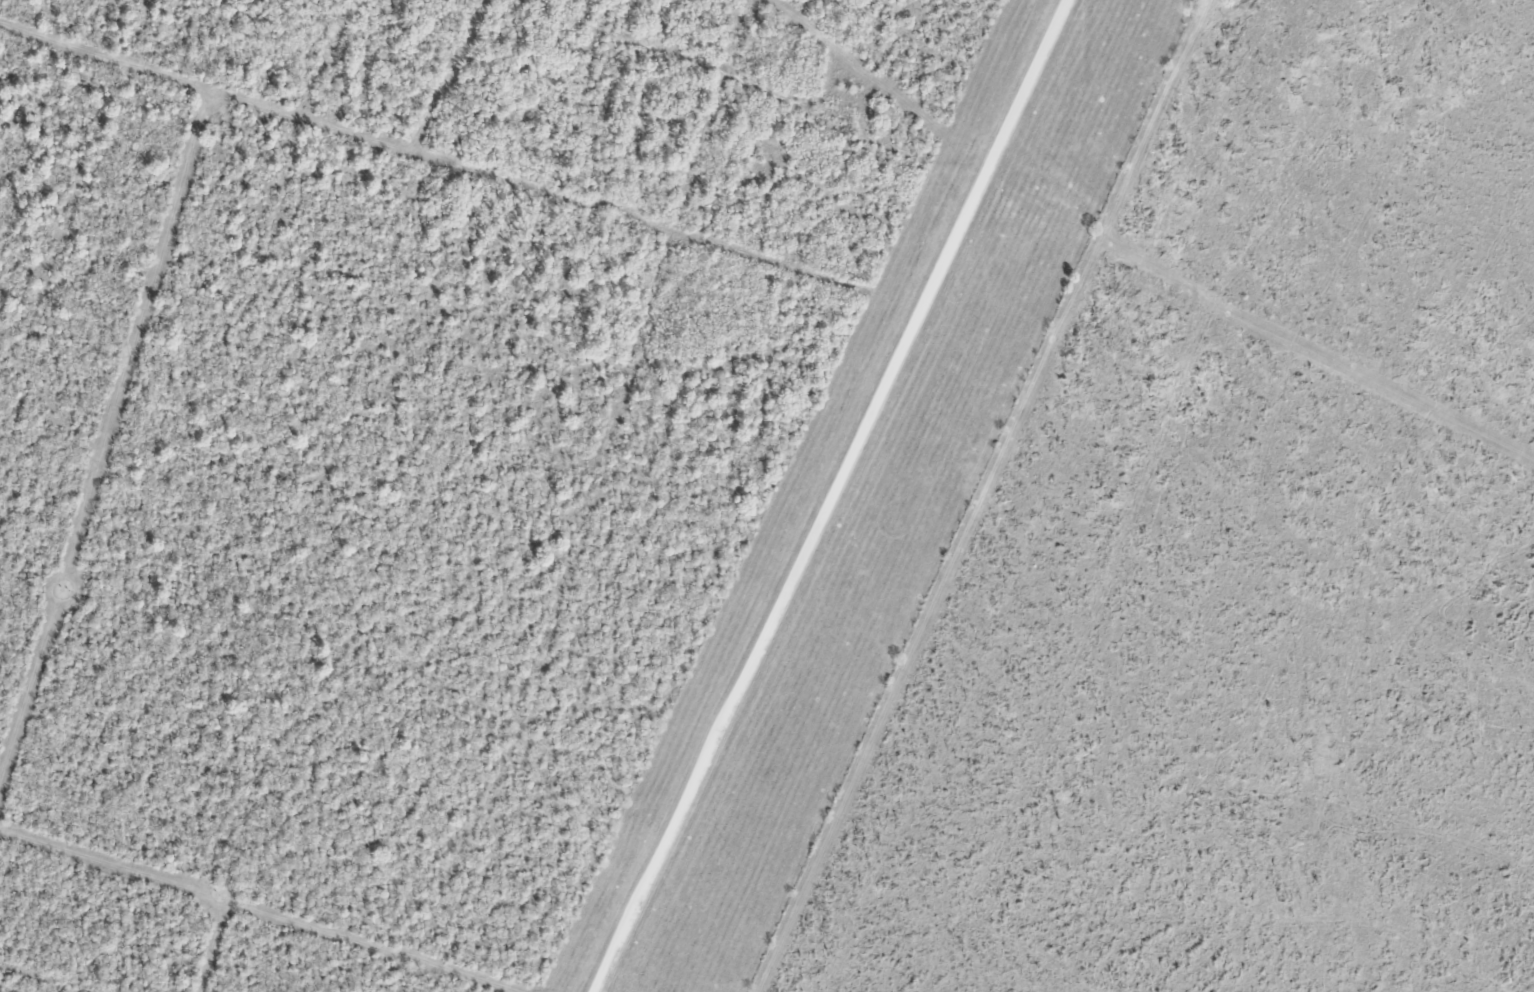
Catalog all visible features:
road: (835, 496)

